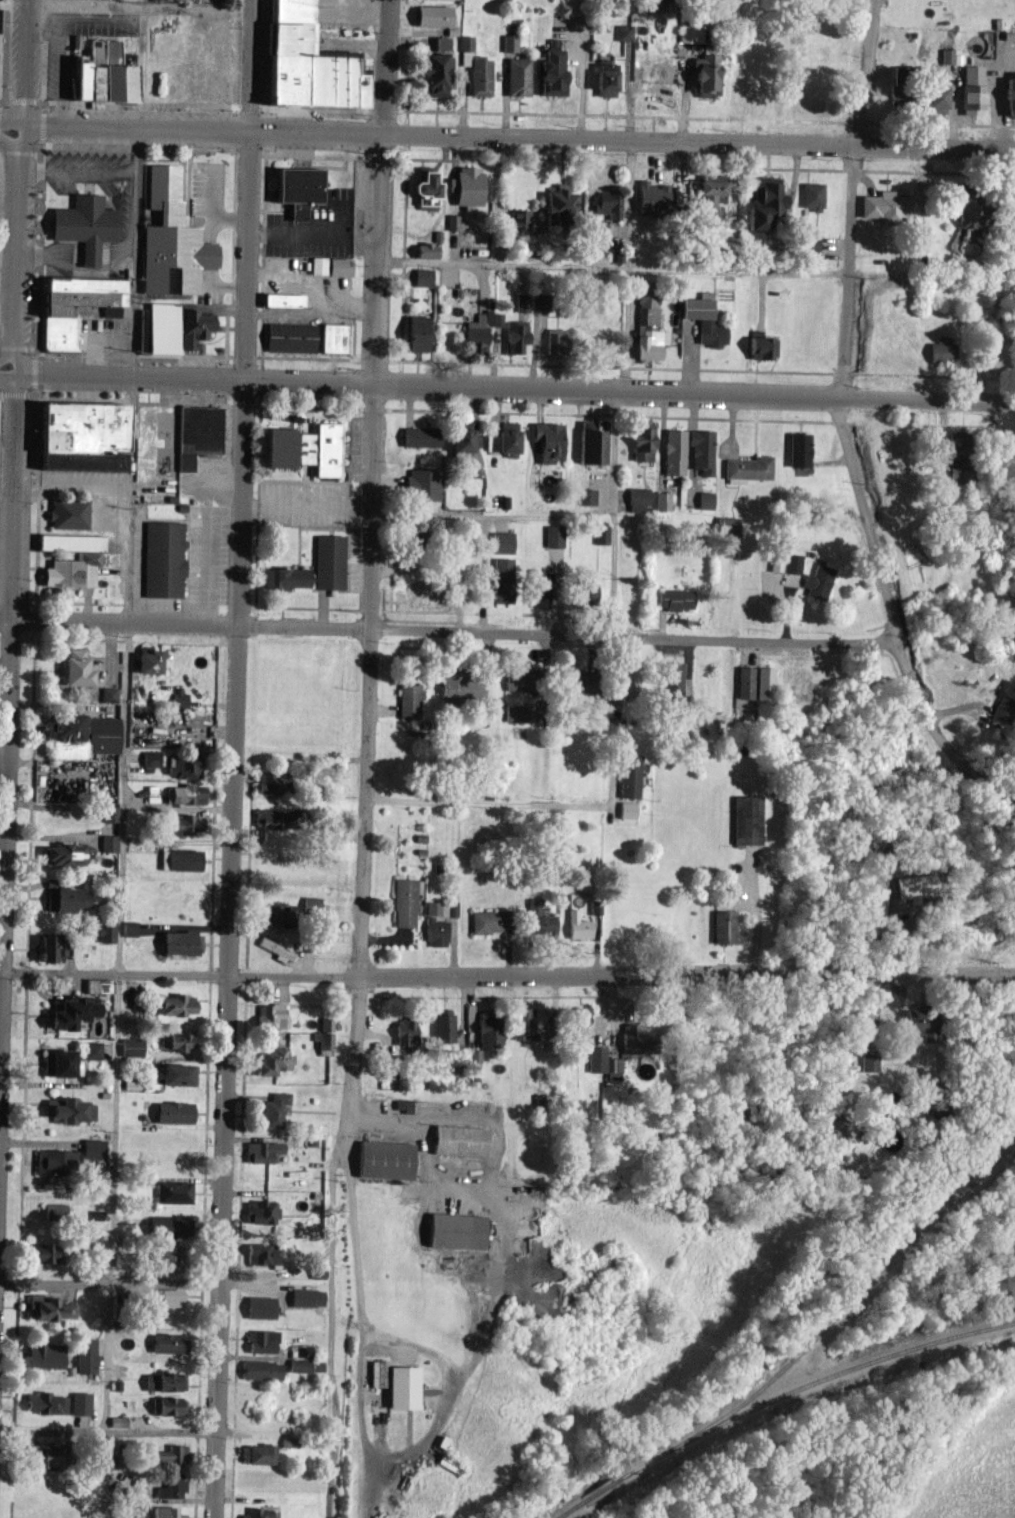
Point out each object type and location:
road: (138, 5)
building: (646, 5)
building: (431, 15)
building: (624, 32)
building: (690, 32)
building: (441, 42)
building: (466, 42)
building: (946, 55)
building: (466, 58)
road: (23, 61)
road: (144, 61)
road: (248, 62)
building: (303, 62)
road: (383, 67)
building: (99, 72)
building: (549, 72)
building: (434, 73)
road: (865, 73)
building: (517, 75)
building: (704, 75)
building: (480, 77)
building: (603, 78)
building: (971, 89)
building: (935, 93)
building: (1009, 94)
road: (10, 122)
road: (517, 137)
building: (466, 184)
building: (299, 186)
building: (424, 189)
building: (811, 195)
building: (651, 196)
building: (708, 196)
building: (556, 201)
building: (762, 201)
building: (606, 203)
building: (883, 205)
building: (84, 226)
building: (170, 237)
building: (809, 246)
road: (18, 248)
building: (424, 249)
road: (136, 250)
building: (330, 265)
road: (613, 267)
building: (422, 276)
building: (77, 284)
building: (281, 299)
building: (521, 300)
building: (703, 318)
building: (159, 328)
building: (648, 328)
building: (477, 330)
building: (57, 333)
building: (415, 333)
building: (514, 335)
building: (289, 336)
building: (554, 341)
building: (759, 344)
building: (940, 352)
building: (994, 362)
road: (8, 372)
road: (516, 386)
road: (626, 388)
building: (196, 432)
building: (78, 435)
building: (418, 436)
building: (459, 437)
building: (502, 439)
building: (546, 440)
building: (590, 441)
building: (641, 441)
building: (299, 448)
building: (700, 449)
building: (797, 449)
building: (673, 451)
building: (747, 468)
building: (533, 479)
building: (420, 483)
road: (184, 484)
road: (70, 486)
building: (585, 495)
road: (128, 499)
building: (637, 499)
building: (704, 499)
building: (662, 500)
road: (865, 507)
building: (67, 513)
road: (493, 513)
building: (726, 524)
building: (600, 533)
building: (553, 535)
building: (69, 541)
building: (502, 542)
building: (162, 559)
building: (328, 561)
building: (784, 562)
building: (67, 573)
building: (284, 577)
building: (501, 580)
building: (816, 581)
building: (539, 587)
building: (584, 588)
building: (674, 598)
road: (4, 616)
road: (452, 630)
building: (145, 661)
building: (73, 668)
building: (623, 674)
building: (671, 677)
building: (515, 679)
building: (763, 681)
building: (744, 682)
building: (460, 687)
building: (107, 693)
building: (178, 696)
building: (408, 700)
building: (1004, 702)
building: (612, 725)
building: (58, 727)
building: (102, 734)
road: (7, 741)
building: (150, 759)
building: (182, 766)
building: (629, 774)
building: (269, 781)
building: (184, 794)
road: (485, 802)
building: (626, 809)
building: (109, 813)
building: (268, 817)
building: (746, 819)
road: (229, 821)
building: (183, 824)
road: (361, 827)
building: (329, 833)
building: (108, 842)
building: (64, 854)
building: (68, 898)
building: (405, 900)
building: (309, 904)
building: (271, 913)
road: (756, 915)
building: (540, 919)
building: (488, 920)
building: (437, 921)
building: (577, 925)
building: (722, 926)
building: (128, 928)
building: (104, 930)
building: (179, 942)
building: (48, 948)
building: (276, 948)
road: (2, 970)
road: (509, 976)
building: (173, 1004)
building: (69, 1012)
building: (268, 1014)
building: (920, 1022)
building: (326, 1023)
building: (522, 1023)
building: (578, 1023)
building: (442, 1026)
building: (403, 1031)
building: (488, 1032)
building: (176, 1042)
building: (323, 1042)
building: (130, 1046)
building: (92, 1050)
building: (596, 1060)
building: (54, 1062)
building: (266, 1064)
building: (869, 1064)
road: (116, 1069)
building: (613, 1070)
building: (176, 1074)
building: (402, 1105)
building: (274, 1109)
building: (65, 1110)
building: (172, 1112)
building: (459, 1140)
building: (91, 1148)
building: (262, 1151)
building: (382, 1159)
building: (56, 1160)
road: (431, 1171)
road: (488, 1182)
building: (172, 1191)
building: (53, 1212)
building: (260, 1212)
building: (162, 1226)
building: (454, 1230)
building: (39, 1253)
building: (261, 1253)
building: (163, 1258)
road: (109, 1284)
railway: (862, 1292)
building: (305, 1297)
building: (166, 1298)
building: (49, 1307)
building: (258, 1307)
road: (361, 1332)
building: (260, 1341)
building: (167, 1342)
building: (42, 1355)
building: (84, 1355)
building: (305, 1365)
building: (259, 1369)
building: (376, 1373)
building: (163, 1382)
building: (401, 1387)
railway: (806, 1388)
road: (448, 1389)
building: (44, 1403)
building: (79, 1403)
building: (165, 1406)
building: (374, 1422)
road: (108, 1431)
building: (40, 1454)
building: (257, 1454)
building: (169, 1455)
building: (451, 1464)
park: (961, 1470)
building: (171, 1487)
railway: (595, 1493)
railway: (571, 1511)
building: (135, 1512)
building: (164, 1512)
building: (255, 1513)

